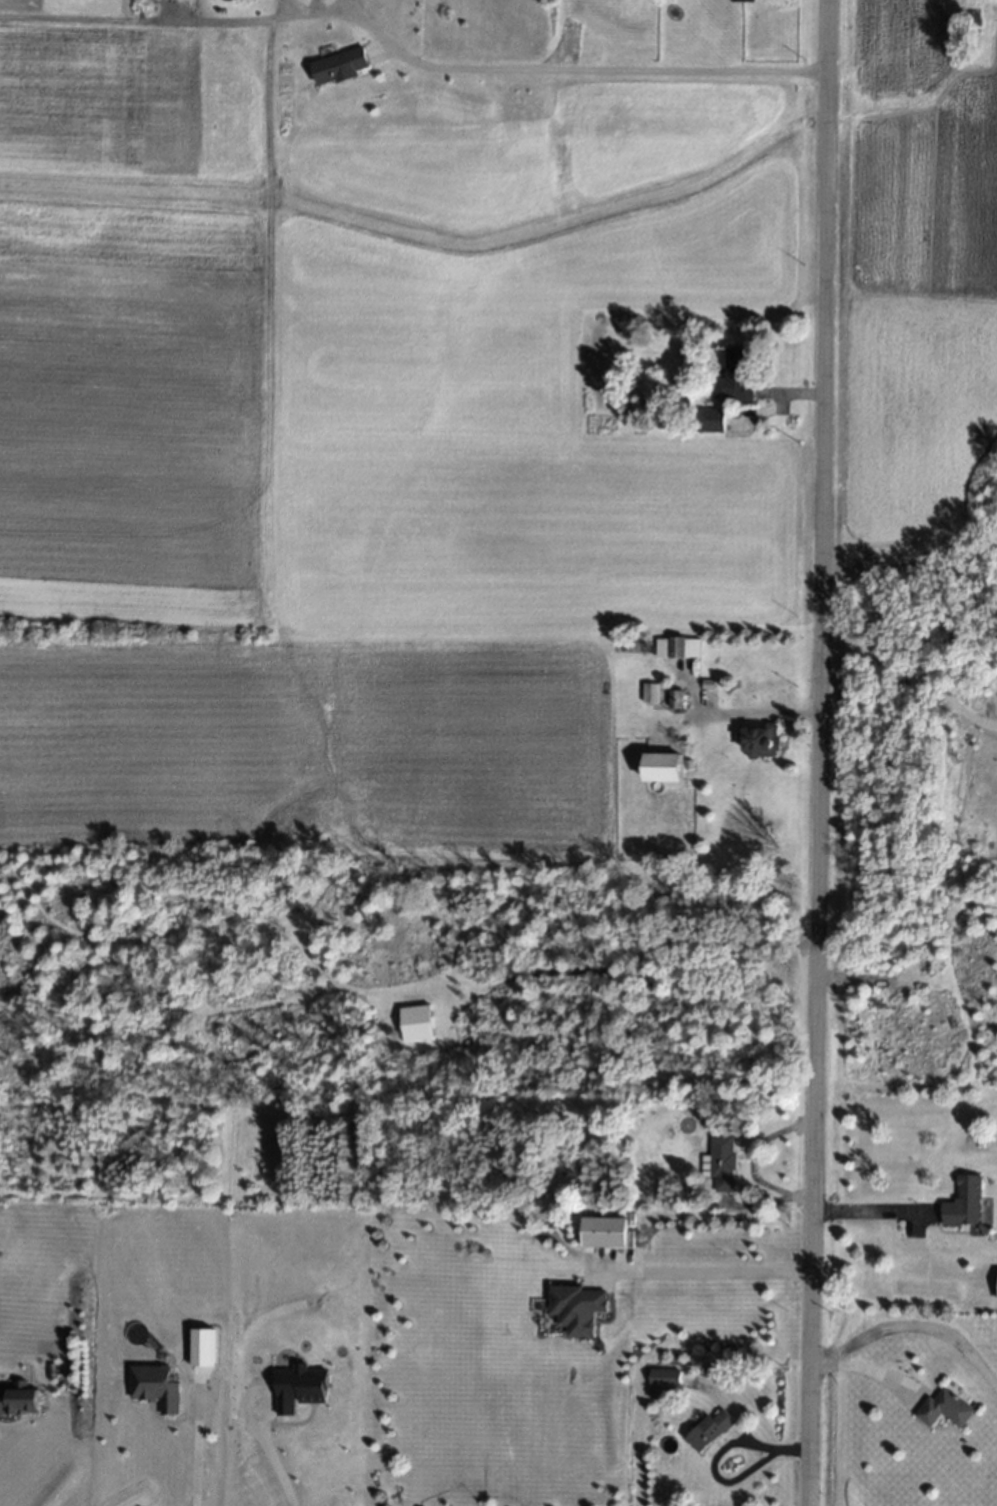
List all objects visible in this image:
building: (744, 0)
building: (340, 67)
road: (549, 73)
crop: (916, 273)
building: (735, 376)
building: (710, 420)
crop: (345, 439)
road: (908, 569)
building: (677, 647)
road: (910, 681)
building: (650, 693)
building: (675, 699)
building: (762, 742)
road: (816, 753)
building: (663, 767)
building: (416, 1024)
building: (721, 1163)
building: (963, 1203)
road: (870, 1213)
building: (604, 1232)
road: (704, 1272)
building: (577, 1309)
road: (911, 1324)
building: (136, 1333)
building: (203, 1347)
road: (862, 1366)
building: (662, 1382)
building: (156, 1387)
building: (299, 1388)
building: (20, 1399)
building: (944, 1409)
building: (708, 1430)
road: (270, 1450)
road: (194, 1454)

